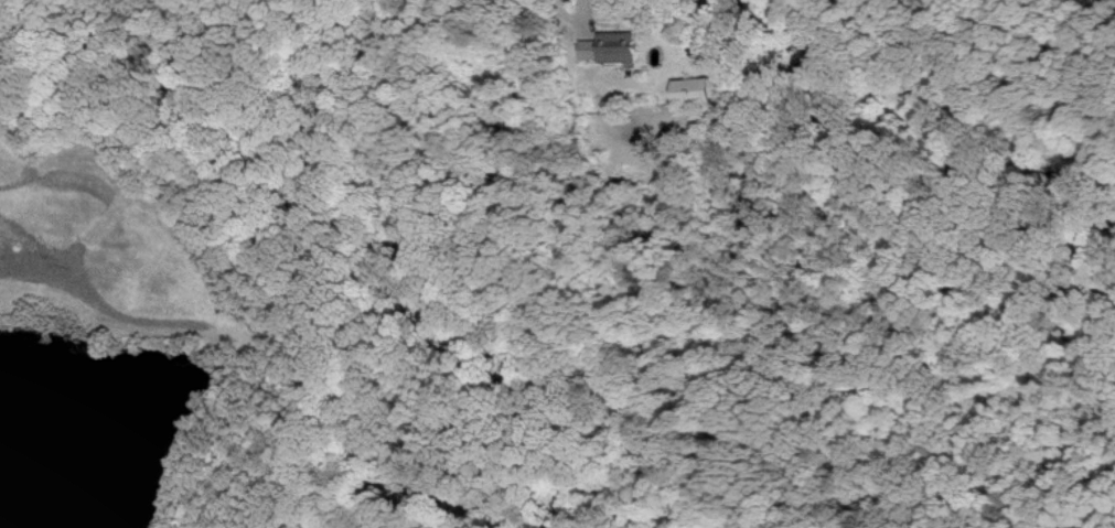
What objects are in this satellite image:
road: (569, 22)
building: (608, 47)
building: (697, 89)

